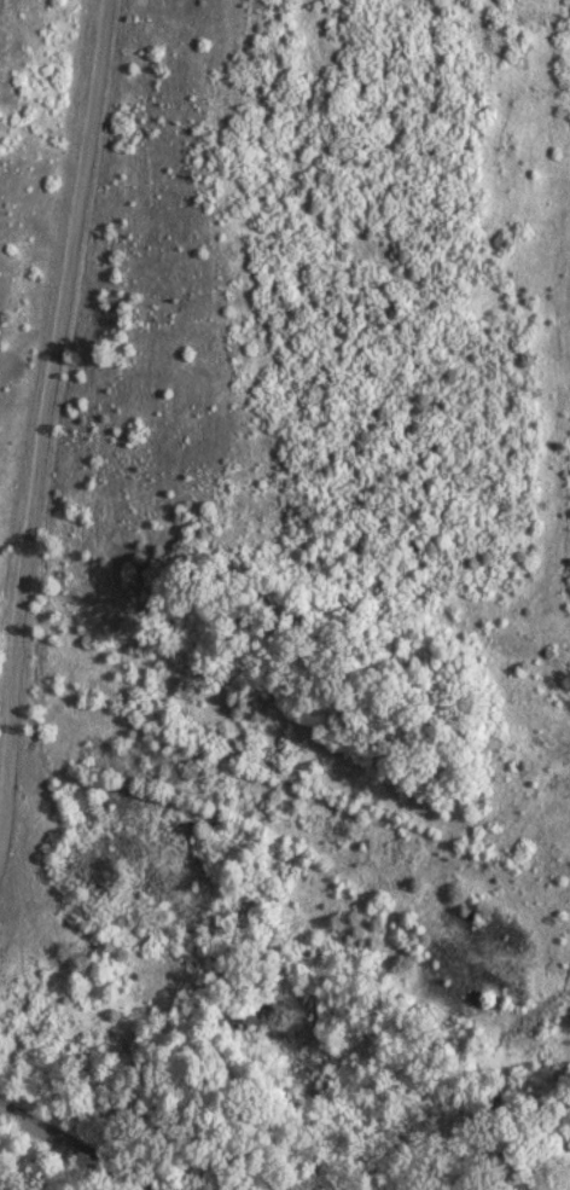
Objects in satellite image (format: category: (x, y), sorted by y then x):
road: (82, 1145)

